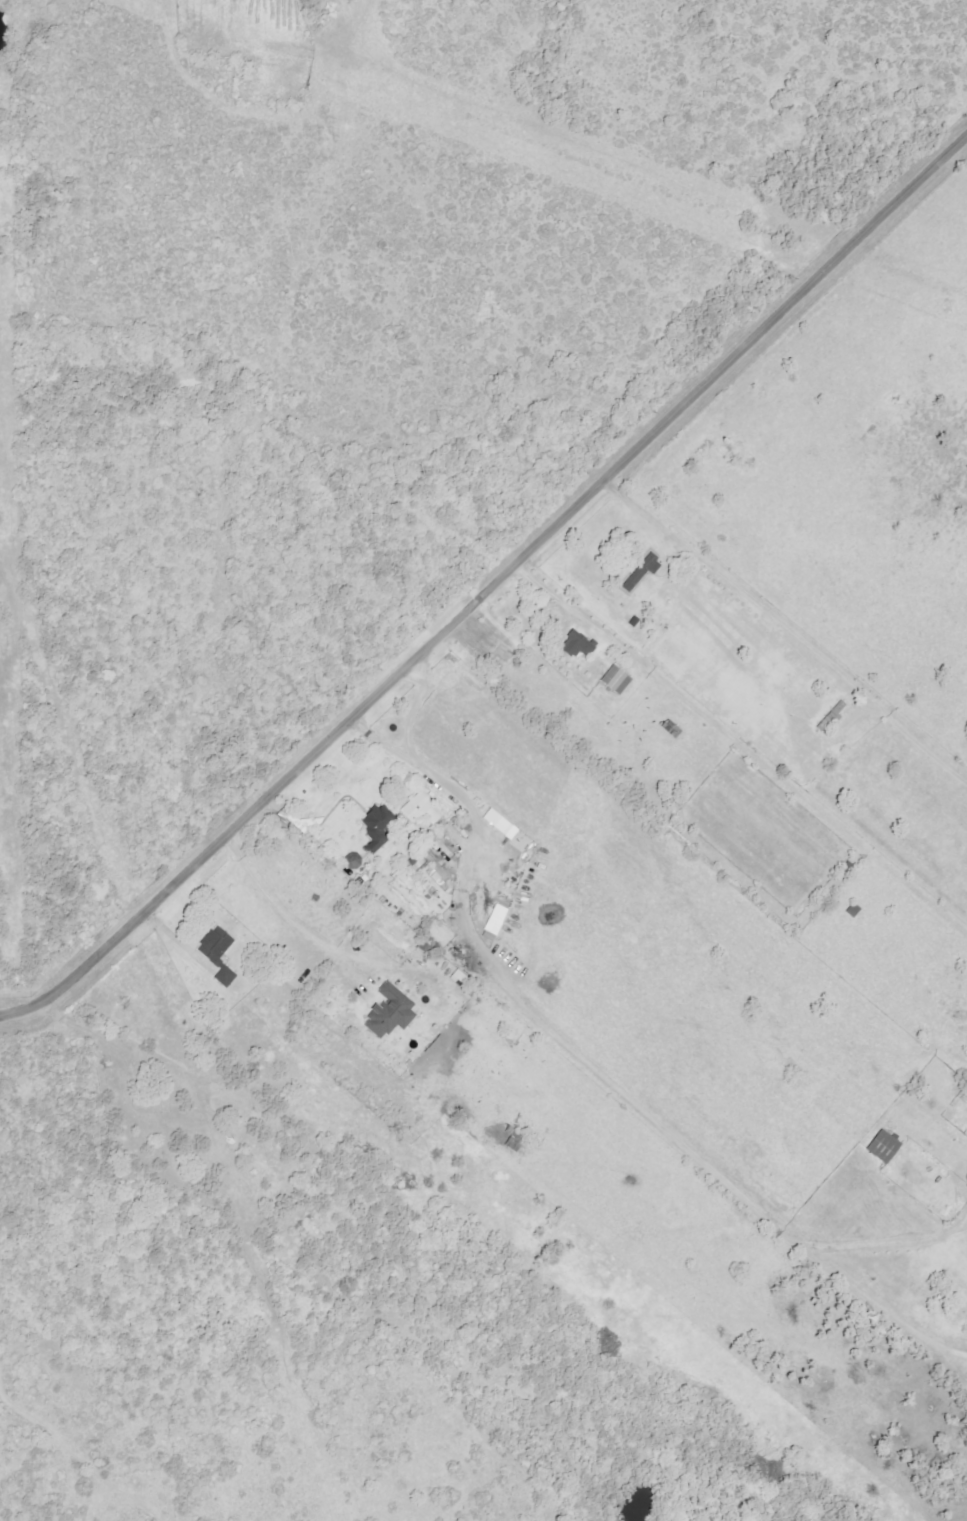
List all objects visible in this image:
building: (643, 572)
road: (492, 587)
road: (743, 589)
road: (564, 608)
building: (580, 644)
building: (618, 679)
road: (407, 711)
building: (833, 717)
building: (423, 809)
building: (500, 821)
building: (375, 824)
building: (418, 862)
road: (286, 918)
building: (217, 944)
building: (227, 976)
road: (515, 1002)
building: (384, 1010)
building: (226, 1100)
building: (886, 1146)
road: (879, 1241)
road: (873, 1306)

